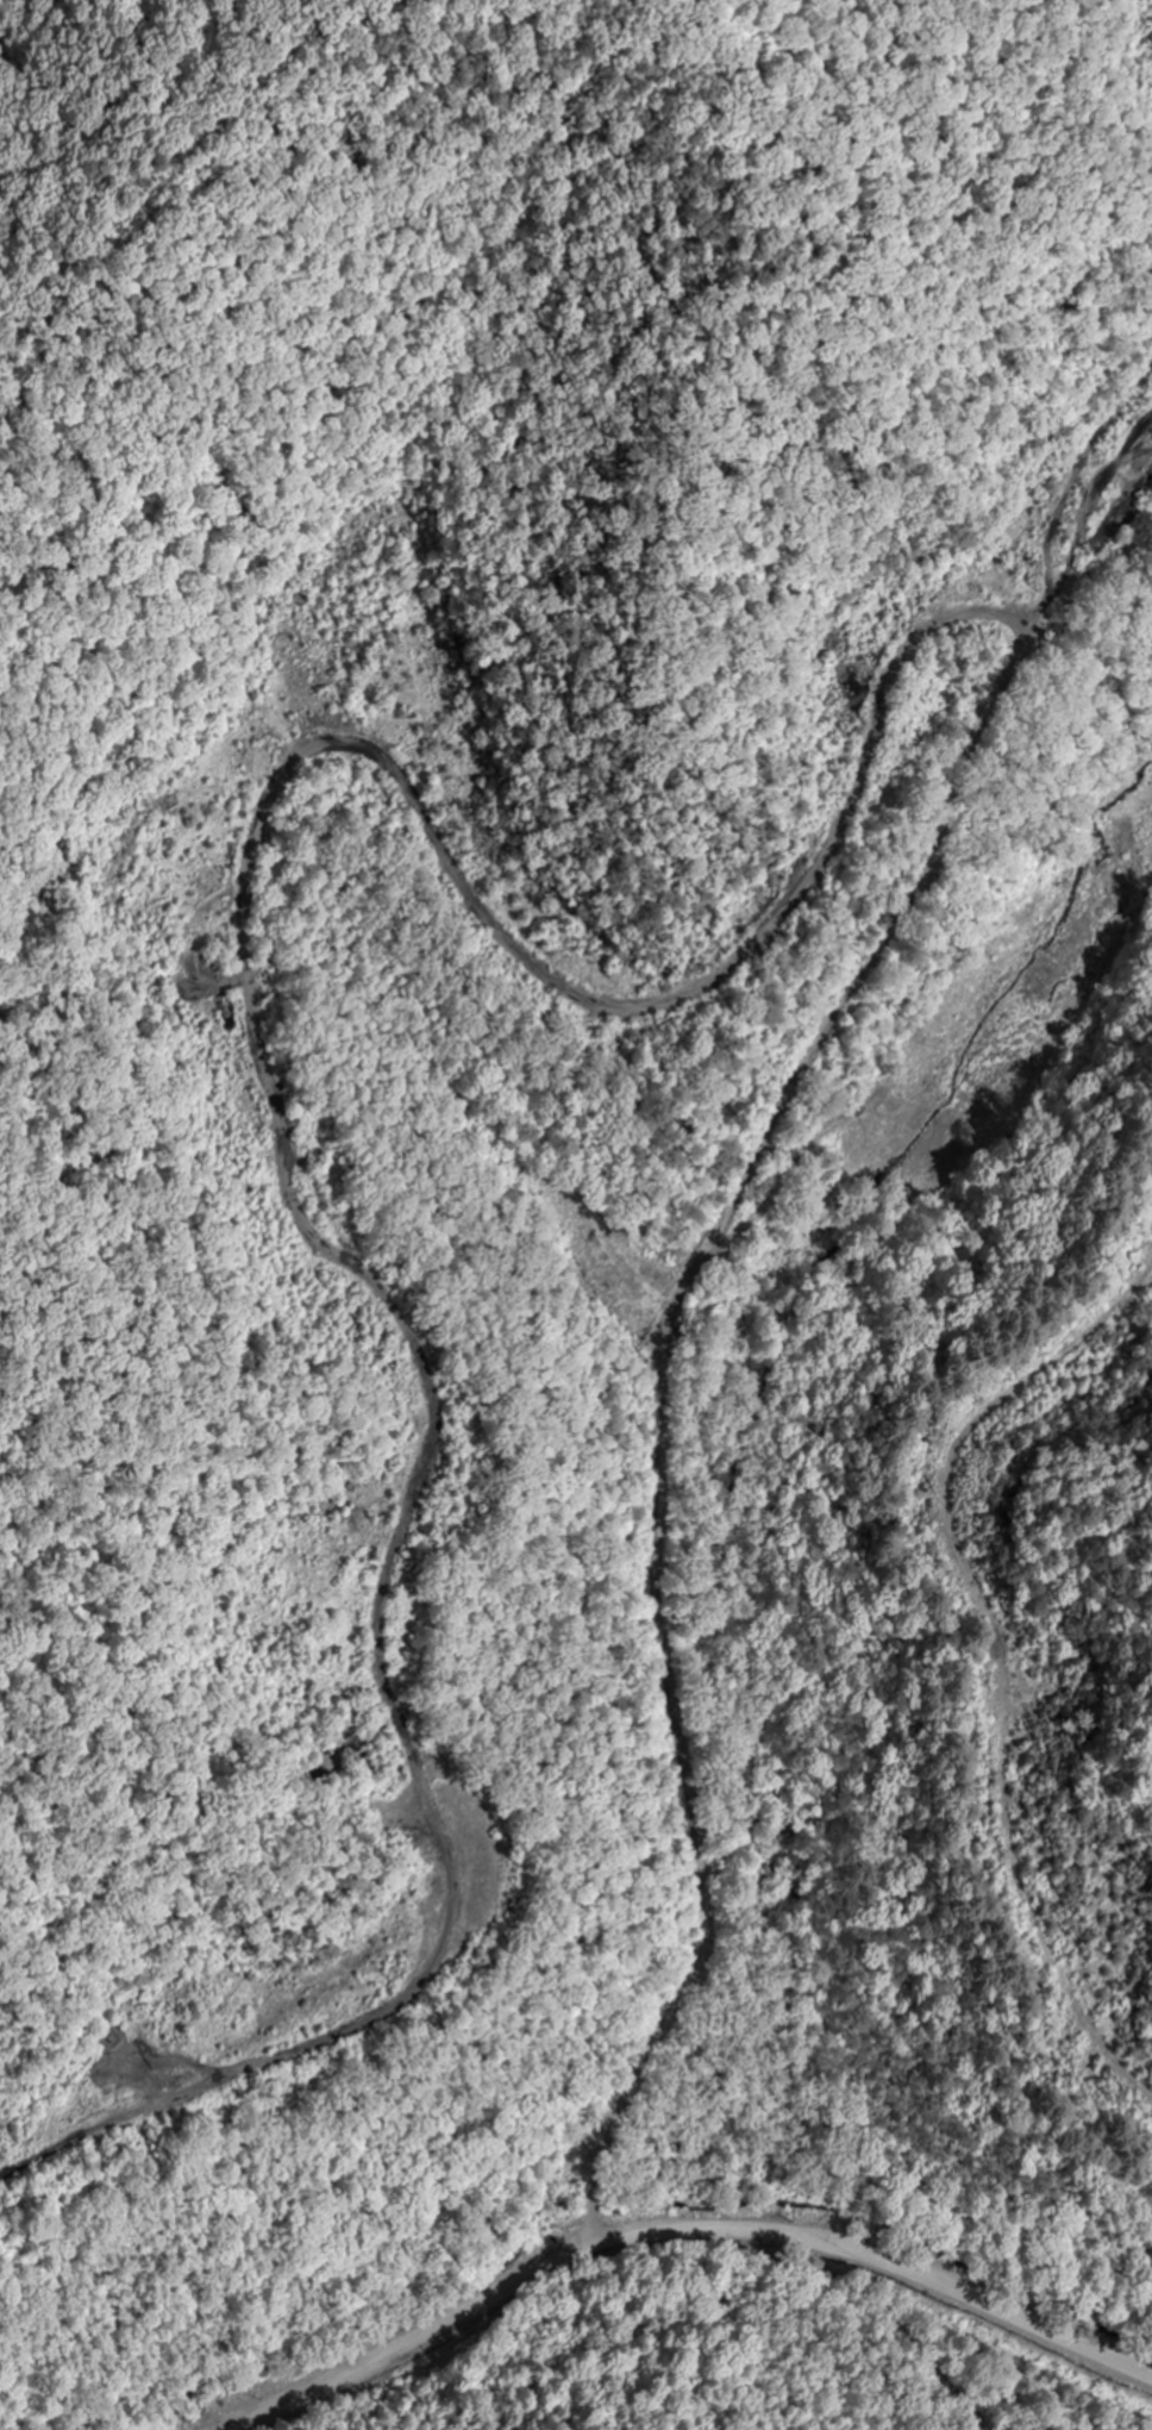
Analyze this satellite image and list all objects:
road: (726, 1301)
road: (687, 2231)

